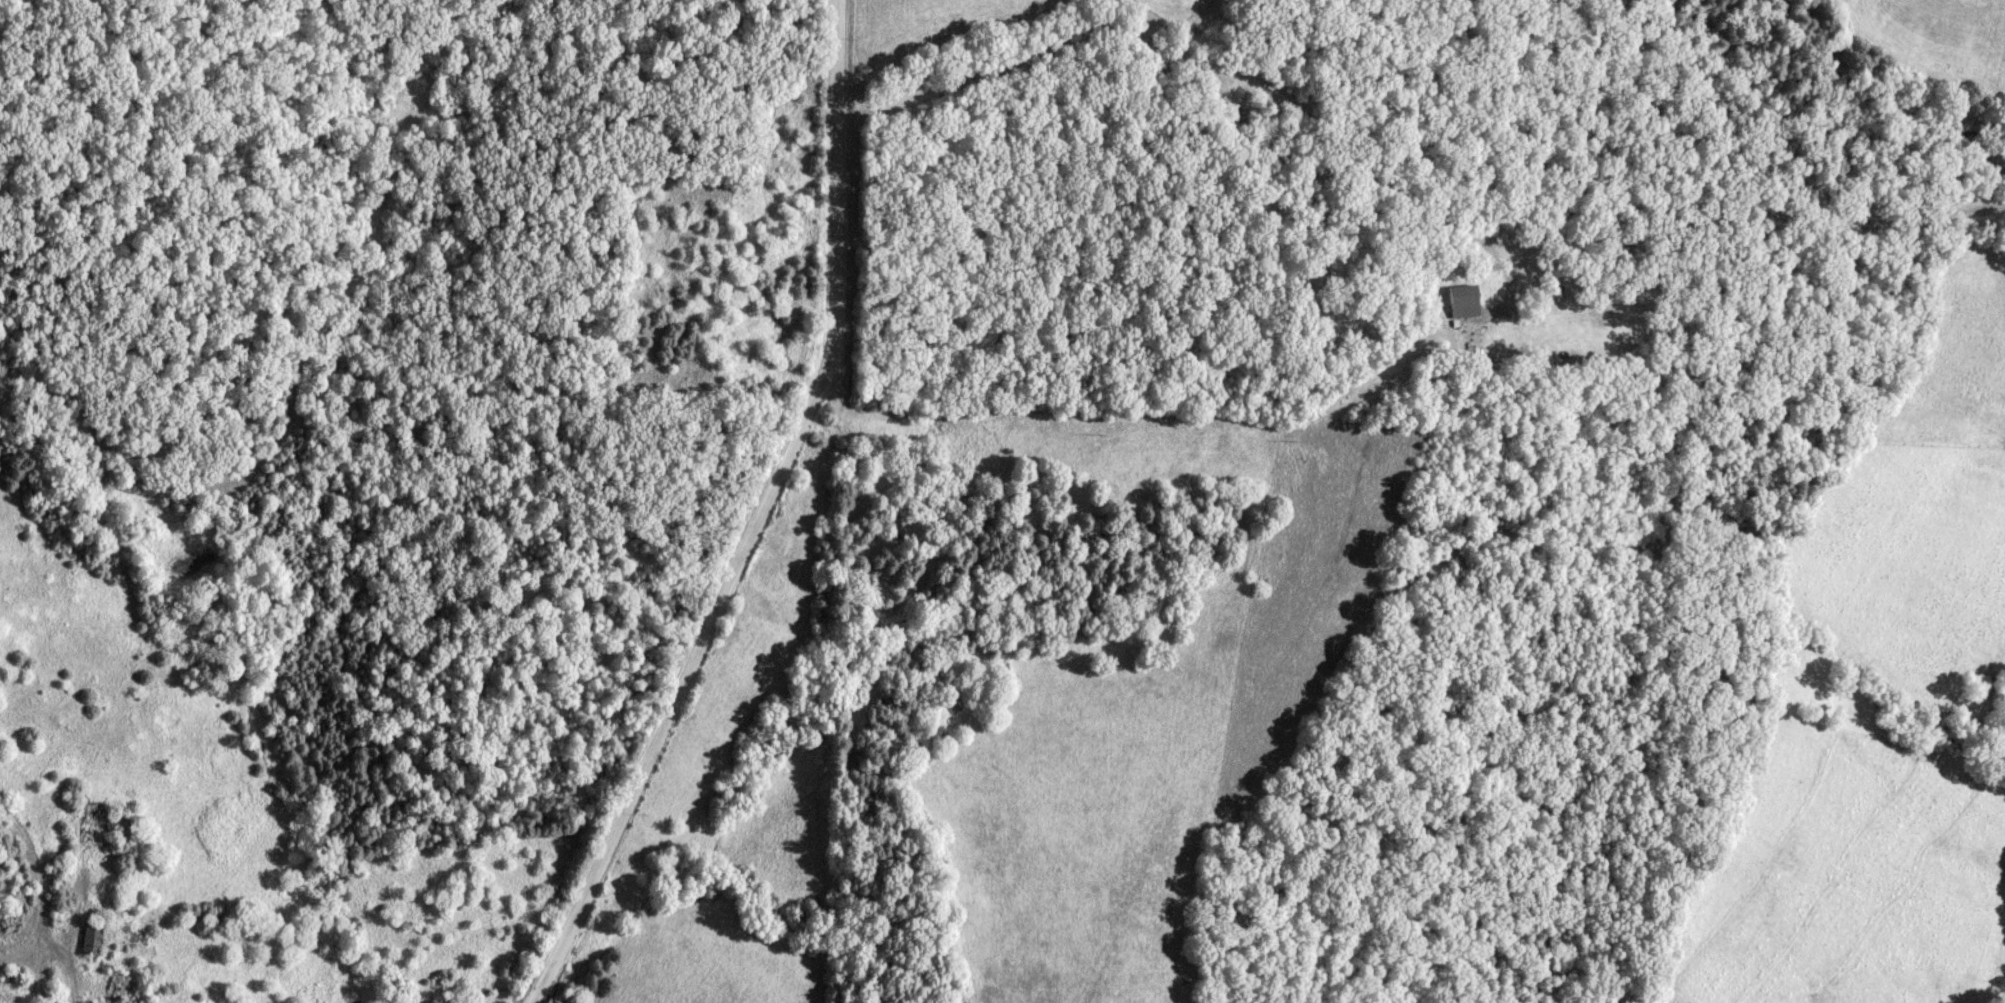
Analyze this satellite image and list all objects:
road: (1399, 194)
building: (1465, 302)
road: (757, 519)
building: (95, 825)
road: (35, 907)
building: (93, 937)
building: (141, 939)
building: (14, 977)

